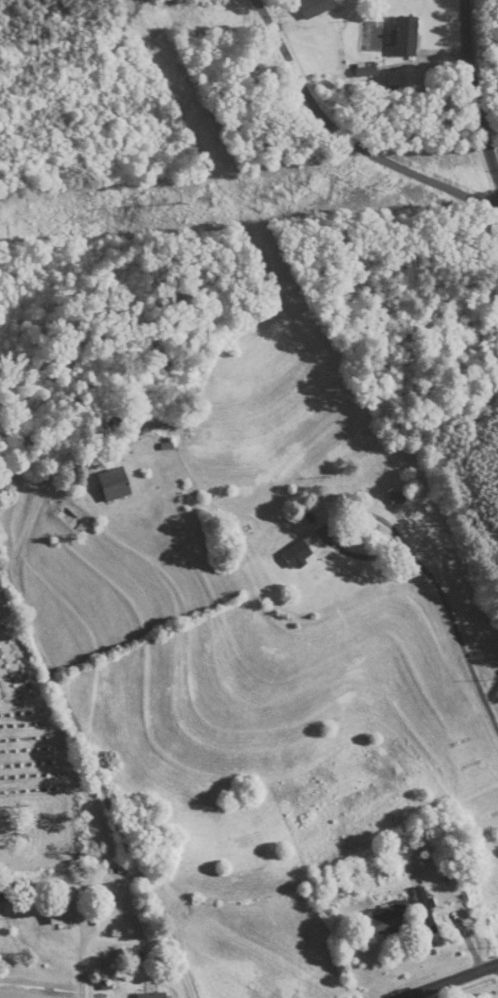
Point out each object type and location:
building: (315, 7)
building: (406, 36)
road: (474, 88)
road: (345, 138)
building: (110, 423)
building: (114, 485)
building: (398, 499)
building: (303, 550)
road: (442, 597)
road: (79, 739)
building: (7, 892)
building: (425, 910)
building: (64, 914)
building: (391, 920)
road: (454, 983)
building: (152, 995)

